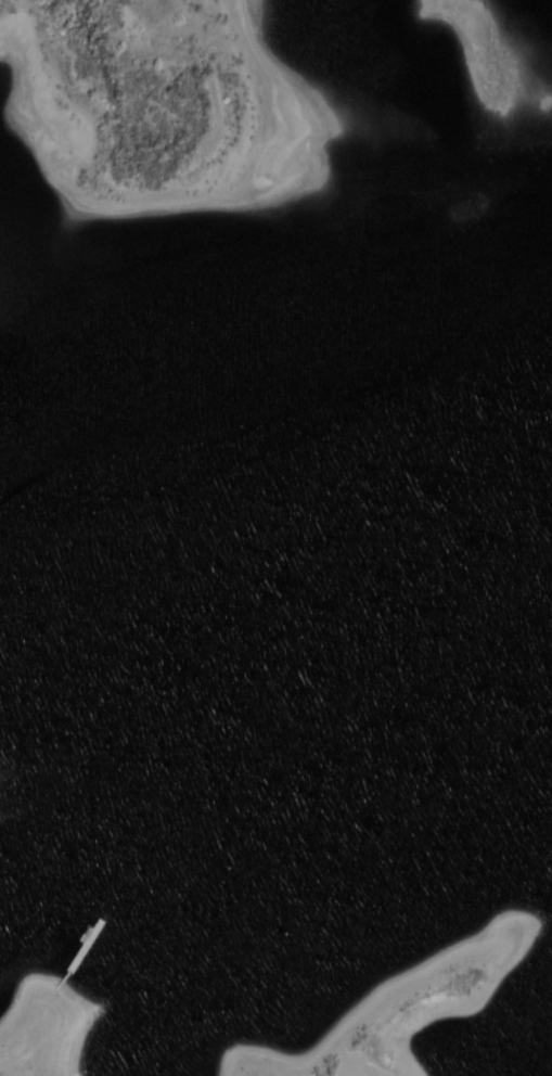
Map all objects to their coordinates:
road: (23, 1068)

